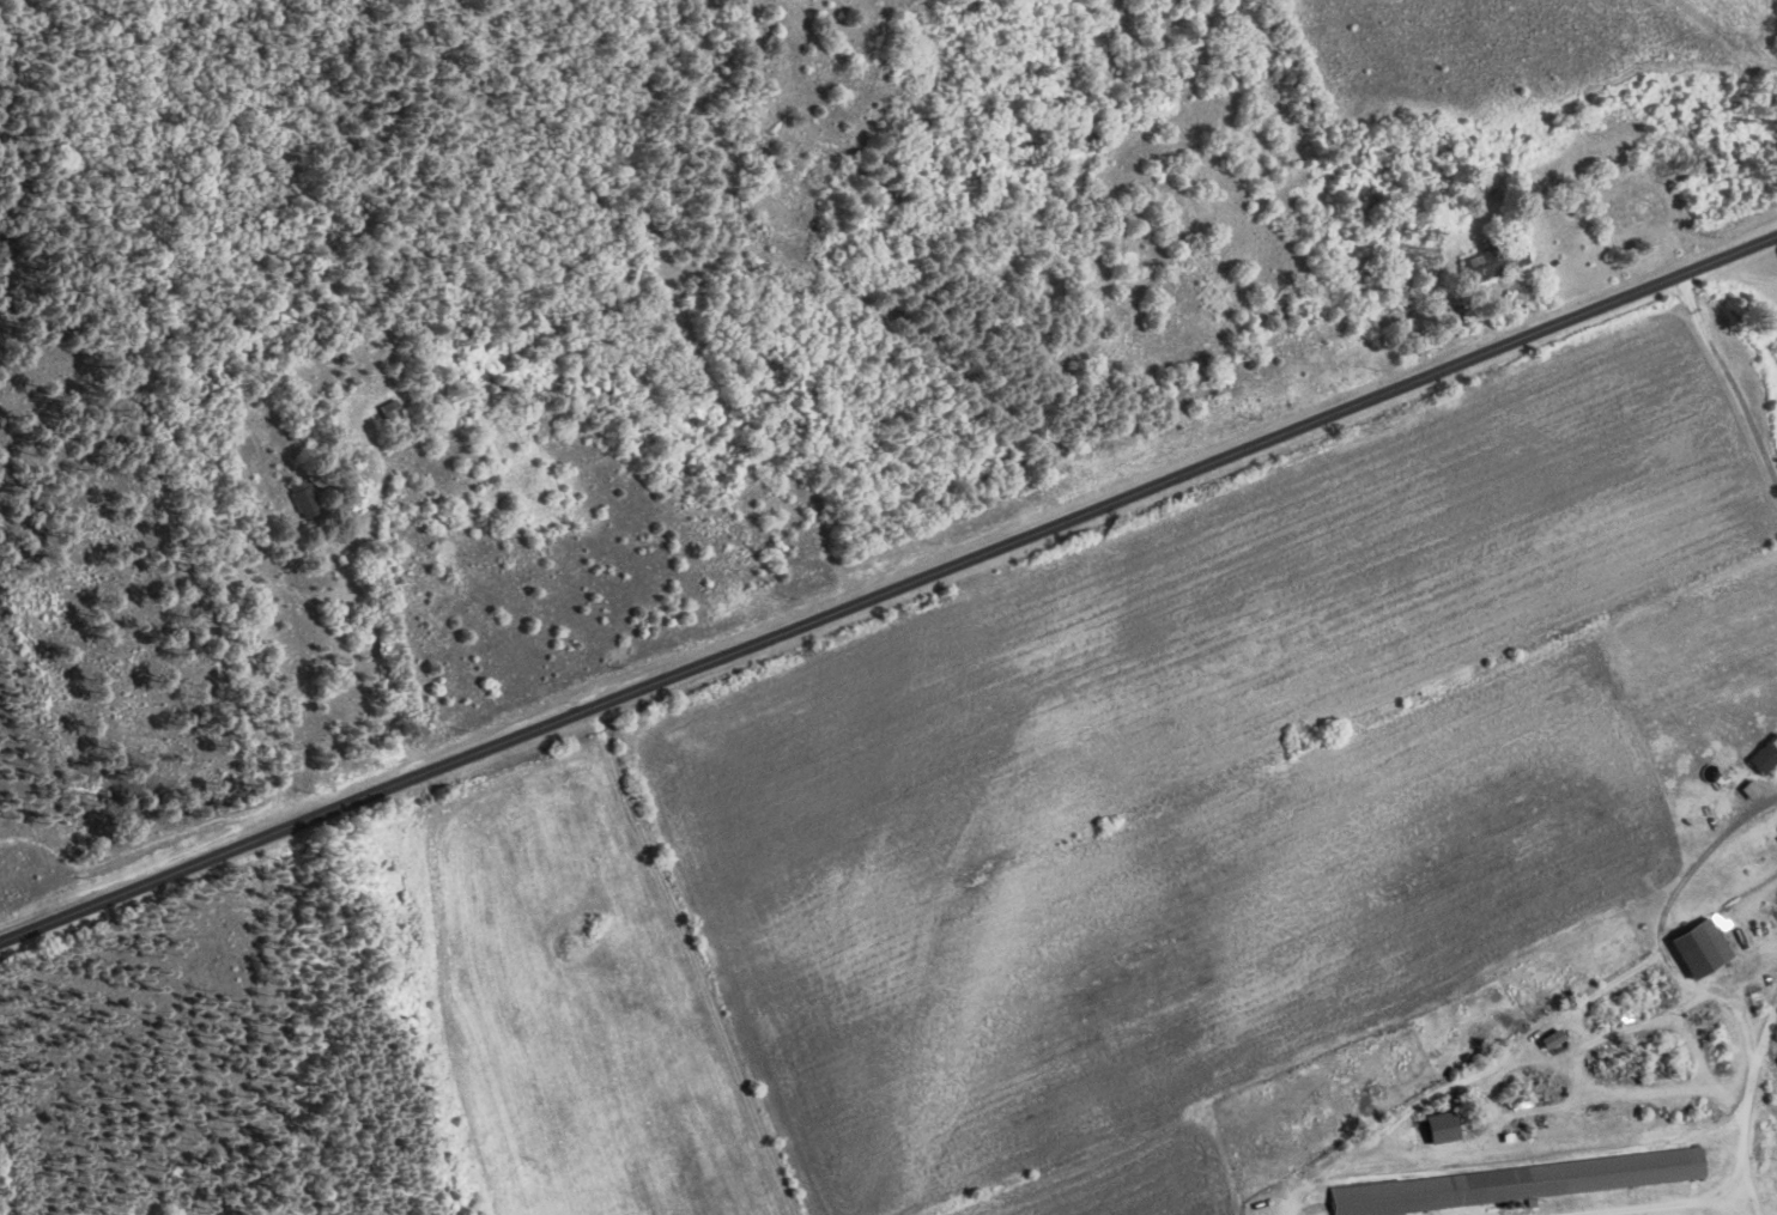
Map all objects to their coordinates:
building: (1630, 206)
building: (1492, 261)
building: (301, 497)
road: (887, 590)
building: (1763, 752)
building: (1747, 788)
building: (1697, 944)
building: (1548, 1037)
building: (1437, 1125)
building: (1514, 1181)

